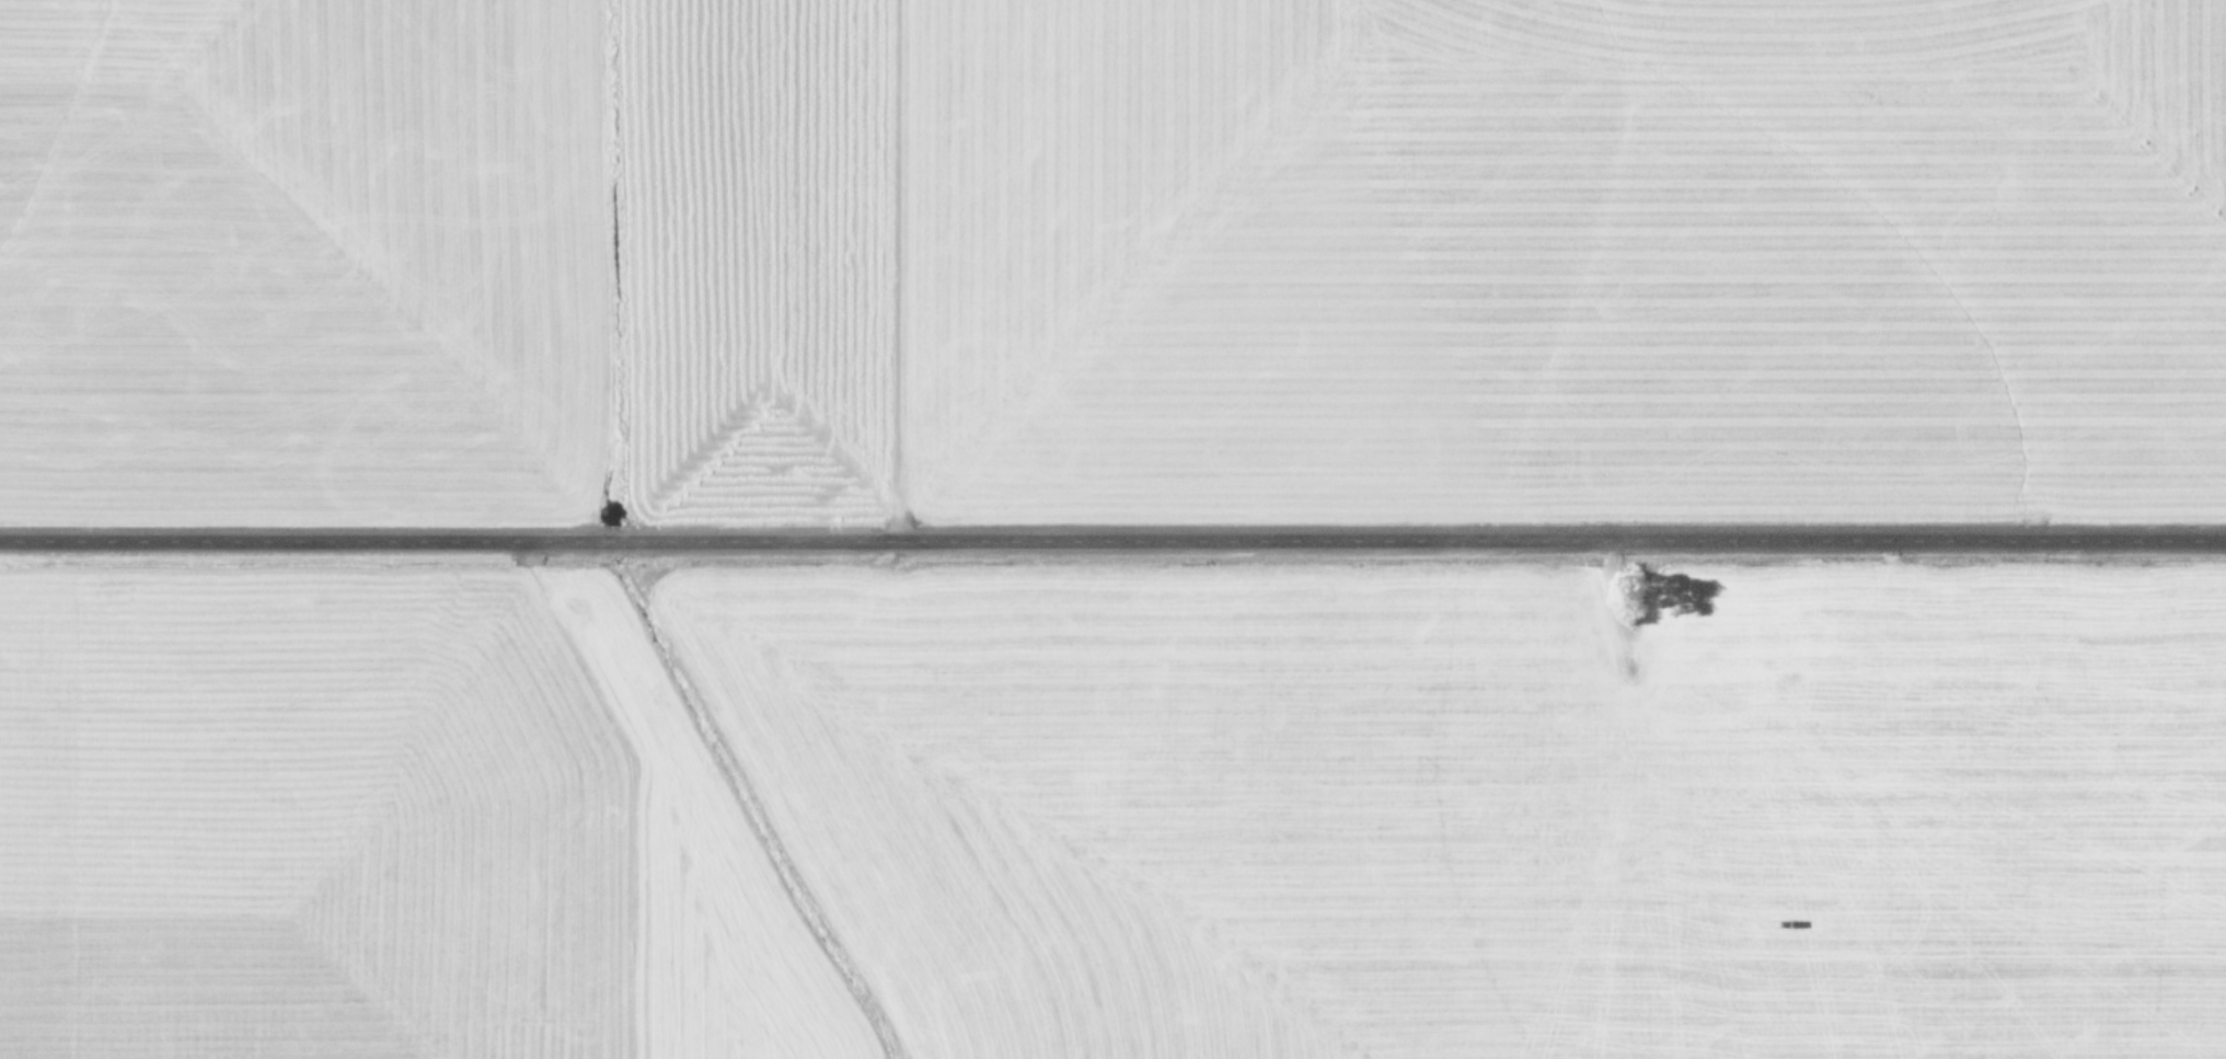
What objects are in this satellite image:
crop: (1112, 529)
road: (1112, 534)

